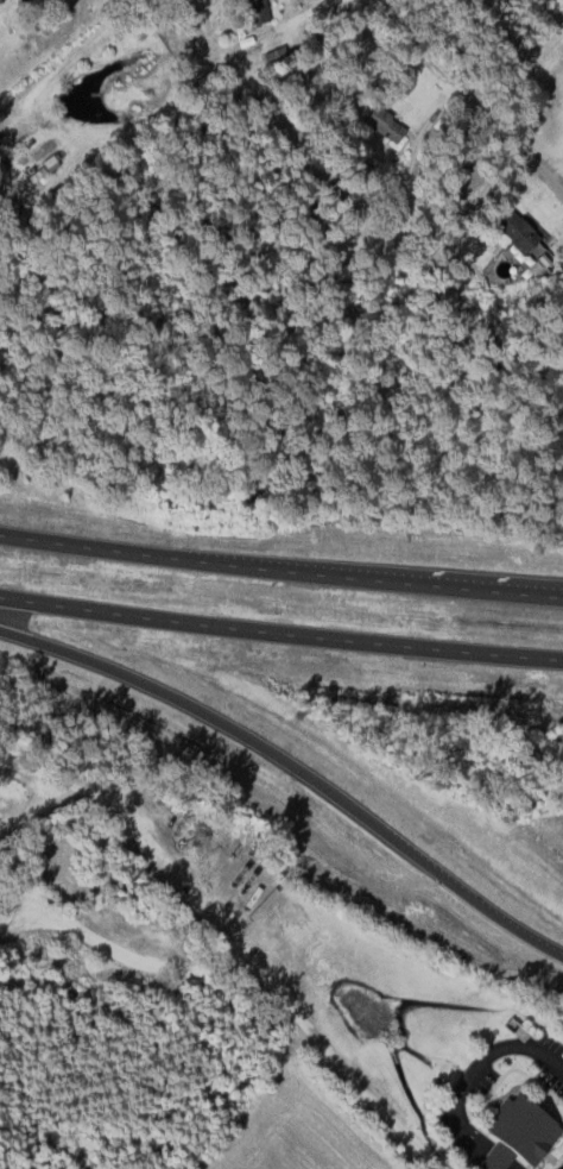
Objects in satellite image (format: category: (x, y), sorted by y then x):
building: (15, 0)
building: (252, 11)
road: (462, 93)
building: (382, 124)
building: (511, 231)
road: (280, 571)
road: (280, 635)
road: (296, 761)
road: (347, 1071)
building: (513, 1135)

